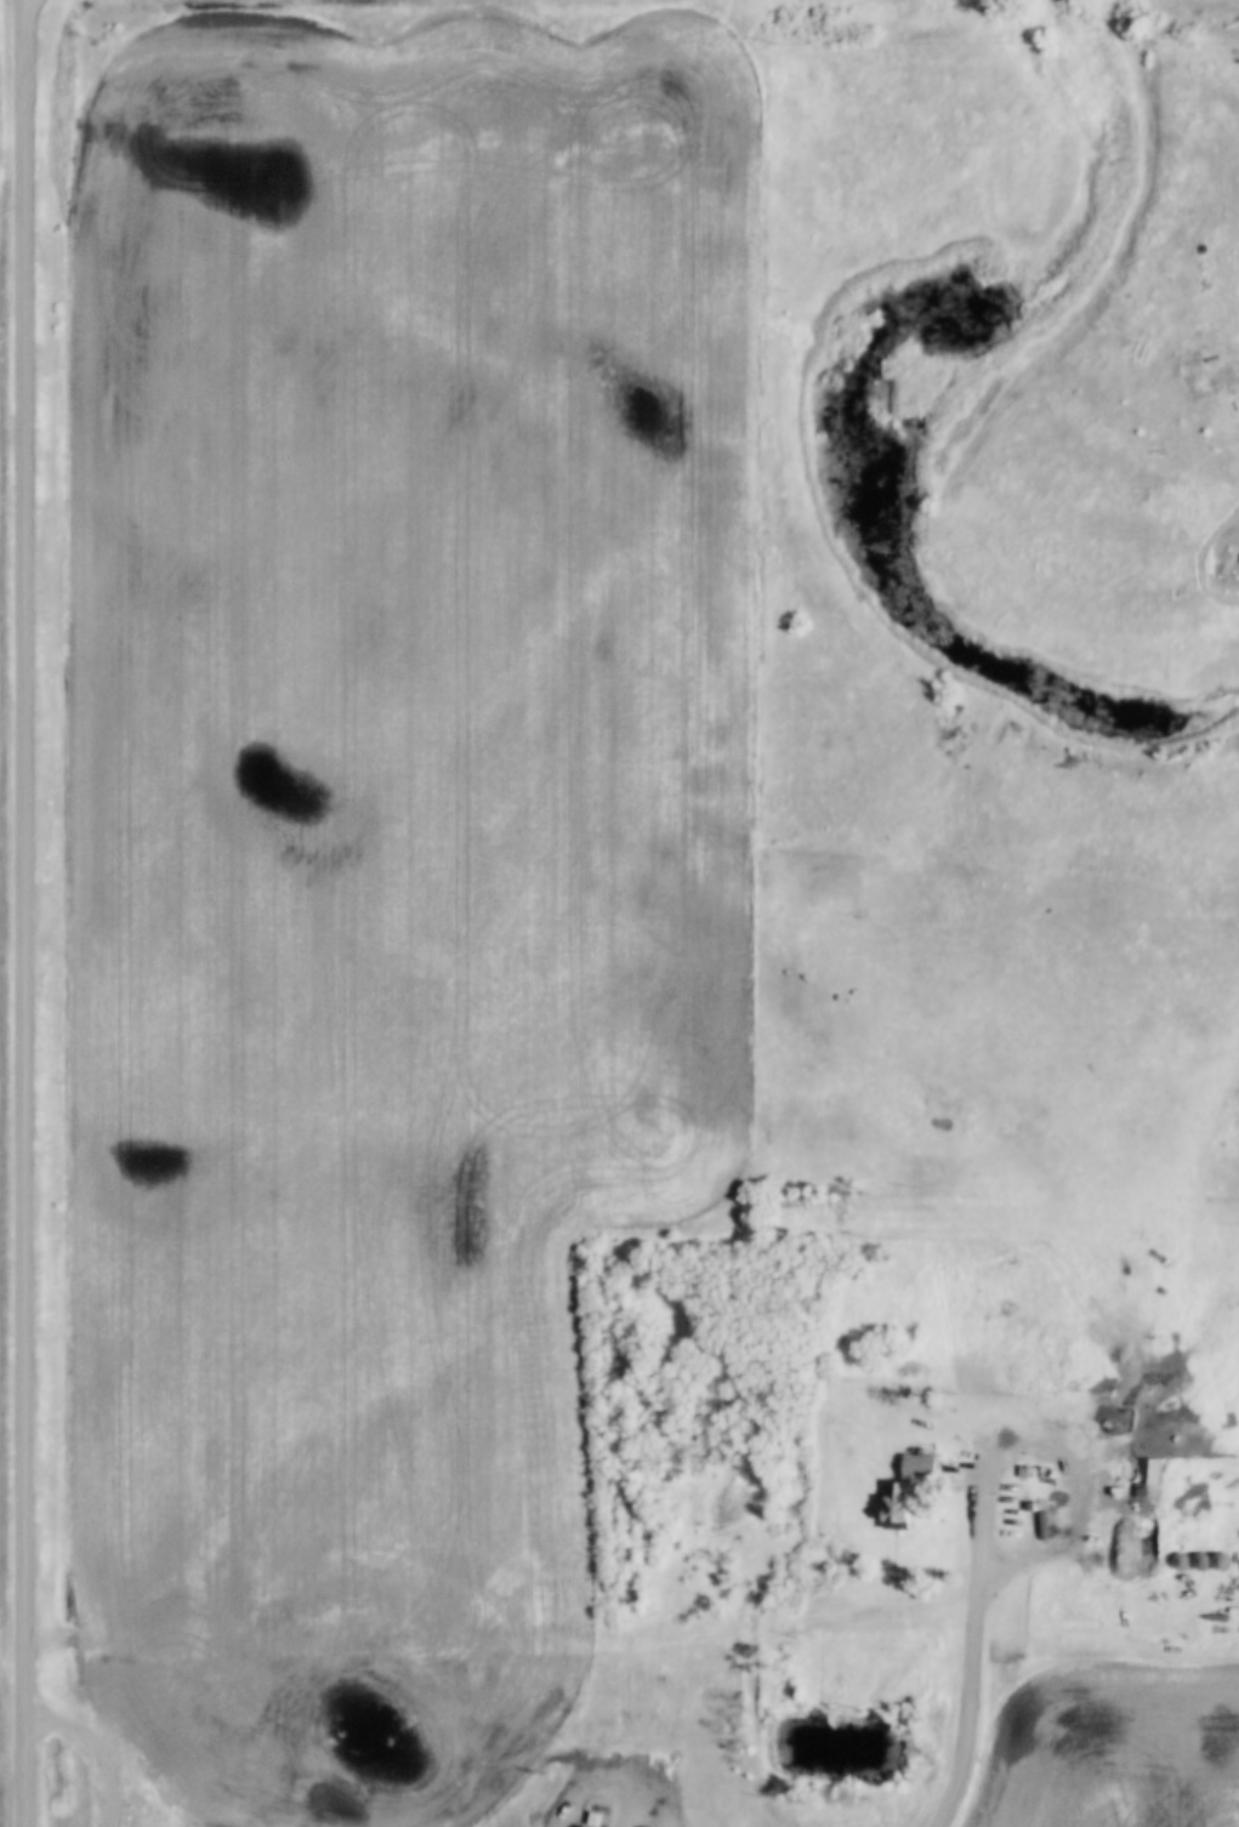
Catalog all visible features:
road: (1210, 543)
road: (28, 913)
road: (1056, 1444)
building: (1142, 1481)
building: (904, 1491)
road: (971, 1720)
road: (96, 1746)

